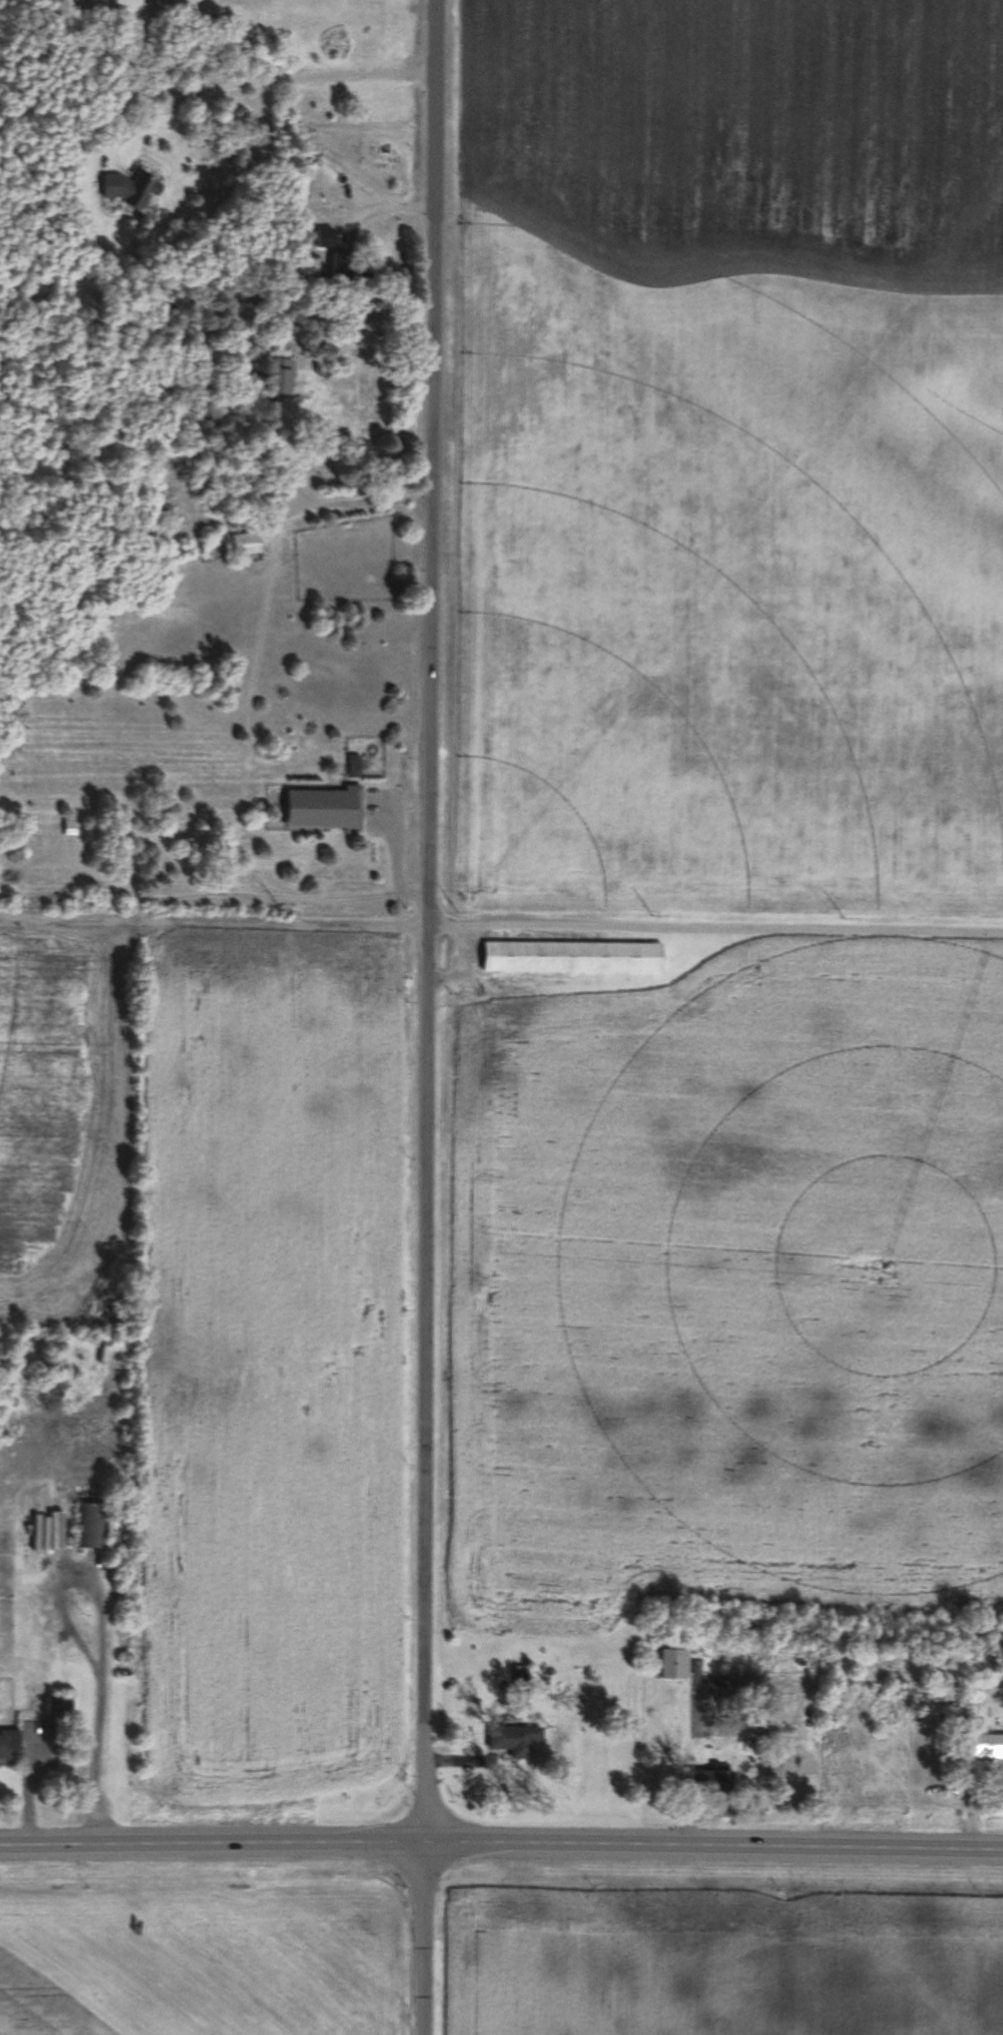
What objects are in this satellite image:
building: (63, 141)
building: (129, 189)
building: (199, 260)
building: (351, 270)
building: (277, 376)
building: (210, 421)
building: (163, 516)
building: (242, 545)
building: (308, 578)
building: (355, 767)
building: (325, 810)
building: (64, 827)
building: (70, 828)
building: (497, 935)
building: (572, 958)
road: (427, 1017)
building: (104, 1330)
building: (92, 1525)
building: (675, 1665)
building: (524, 1683)
building: (33, 1704)
building: (56, 1706)
building: (950, 1719)
building: (6, 1727)
building: (513, 1740)
building: (983, 1744)
building: (9, 1745)
building: (710, 1780)
road: (501, 1841)
crop: (192, 1956)
crop: (725, 1957)

